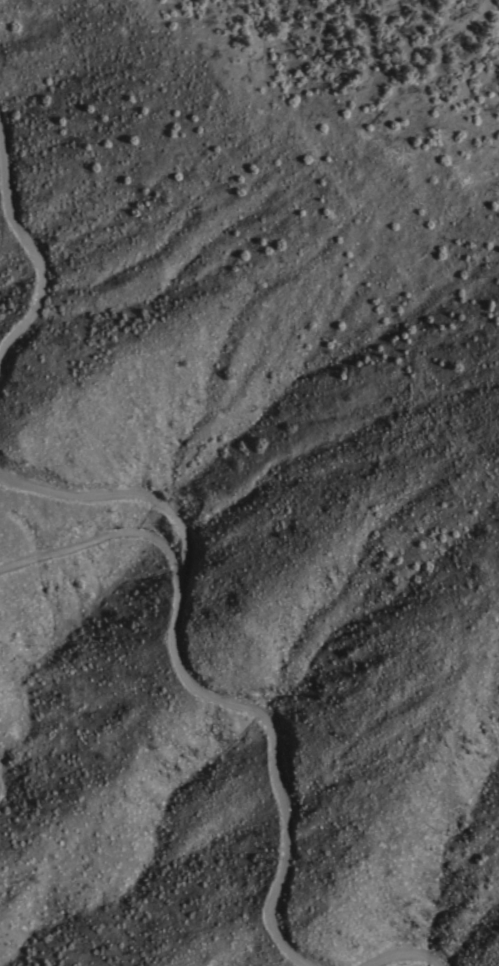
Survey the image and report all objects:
road: (24, 225)
road: (263, 697)

